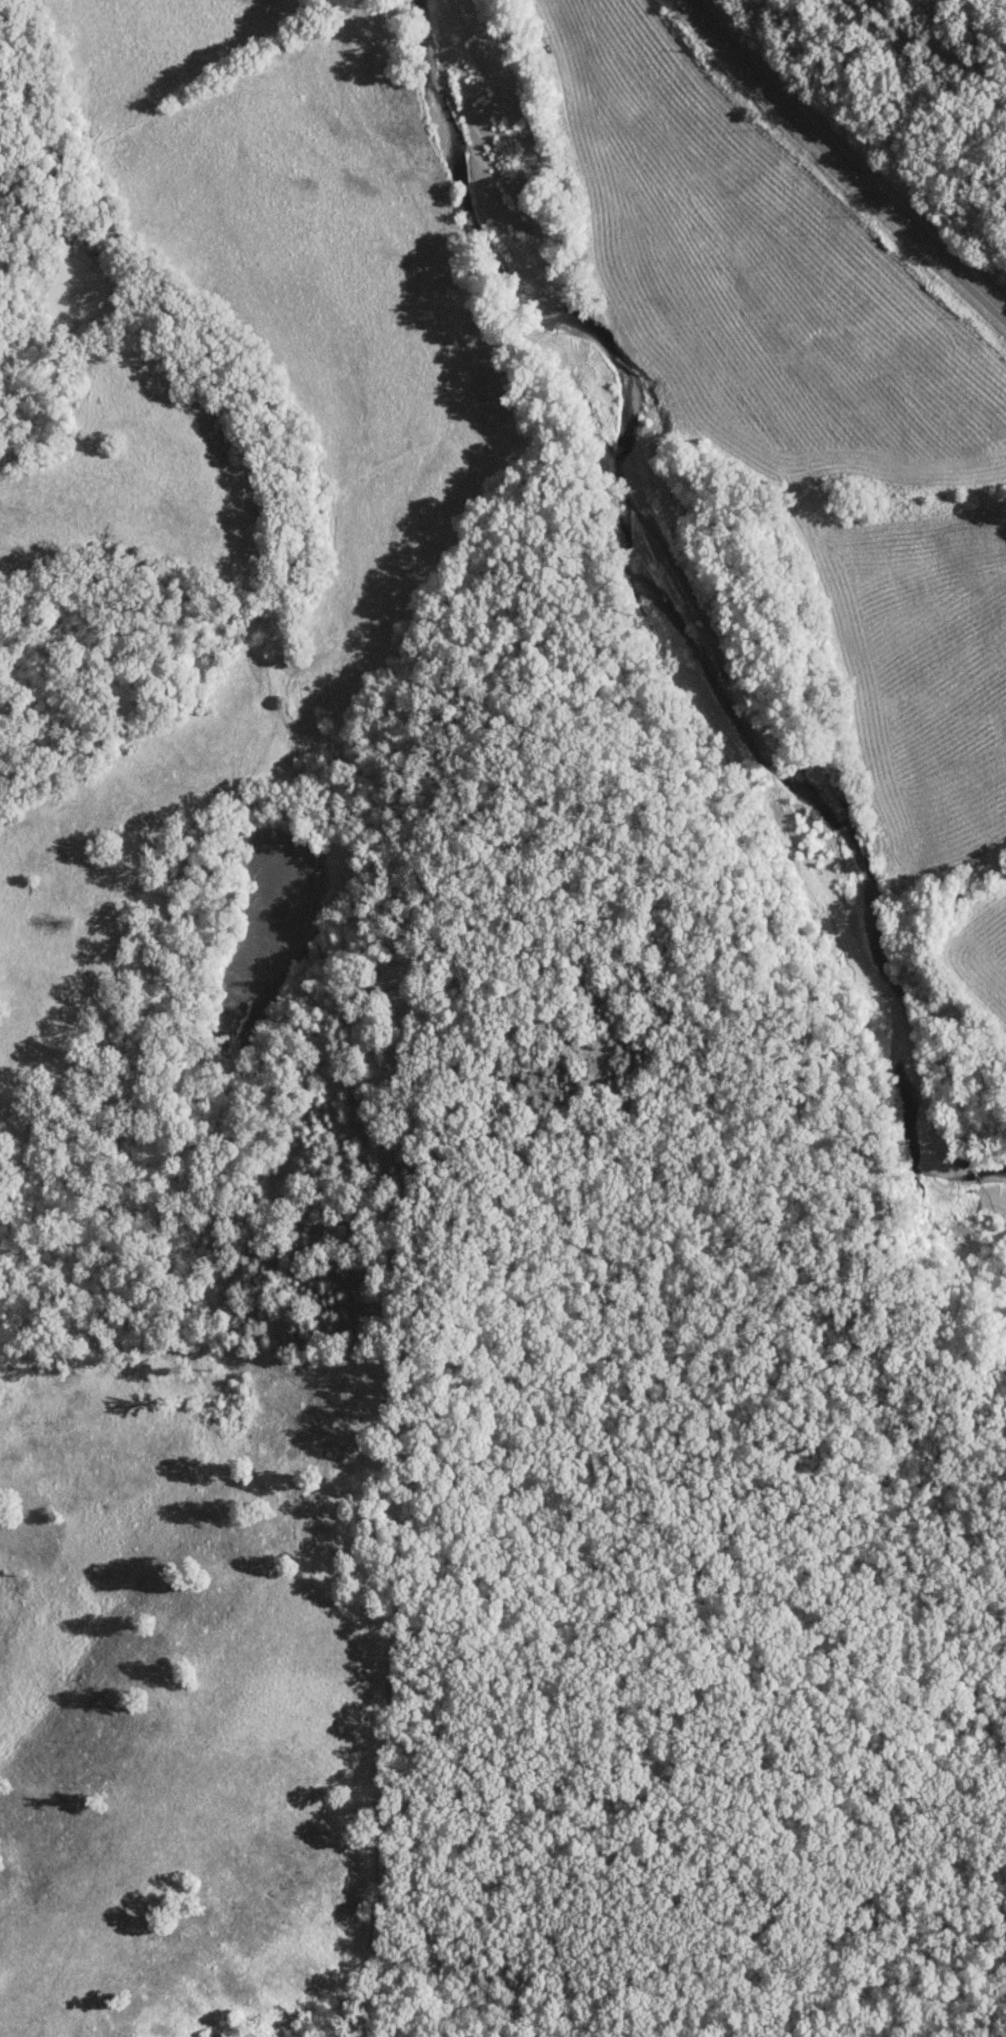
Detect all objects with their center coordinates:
road: (843, 161)

